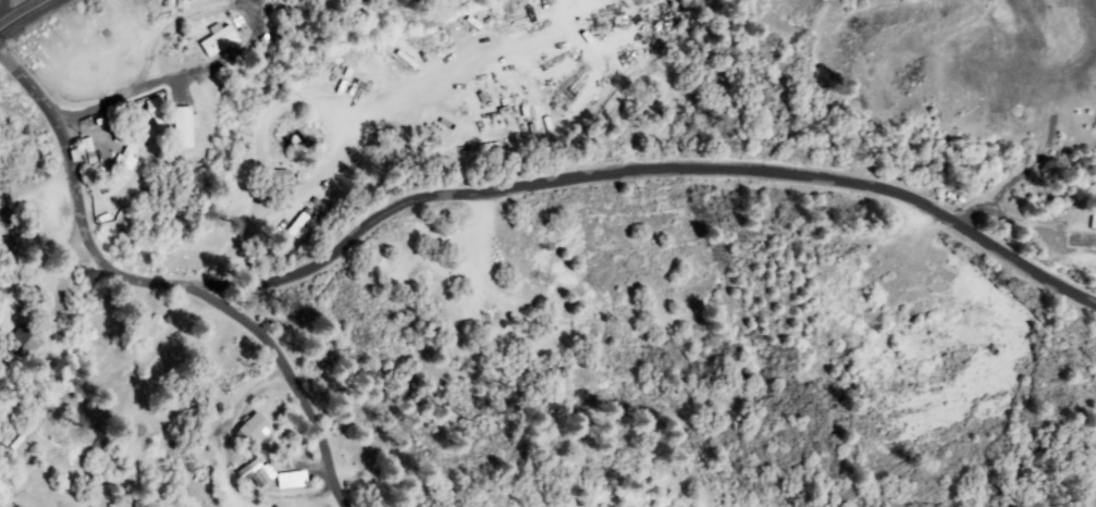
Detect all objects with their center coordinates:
building: (270, 0)
road: (24, 15)
building: (219, 41)
building: (157, 107)
building: (185, 128)
building: (128, 154)
building: (281, 176)
road: (645, 176)
building: (1086, 220)
building: (294, 230)
building: (1067, 238)
road: (162, 284)
building: (146, 323)
building: (24, 343)
building: (99, 345)
building: (254, 429)
building: (256, 473)
building: (292, 480)
building: (140, 504)

